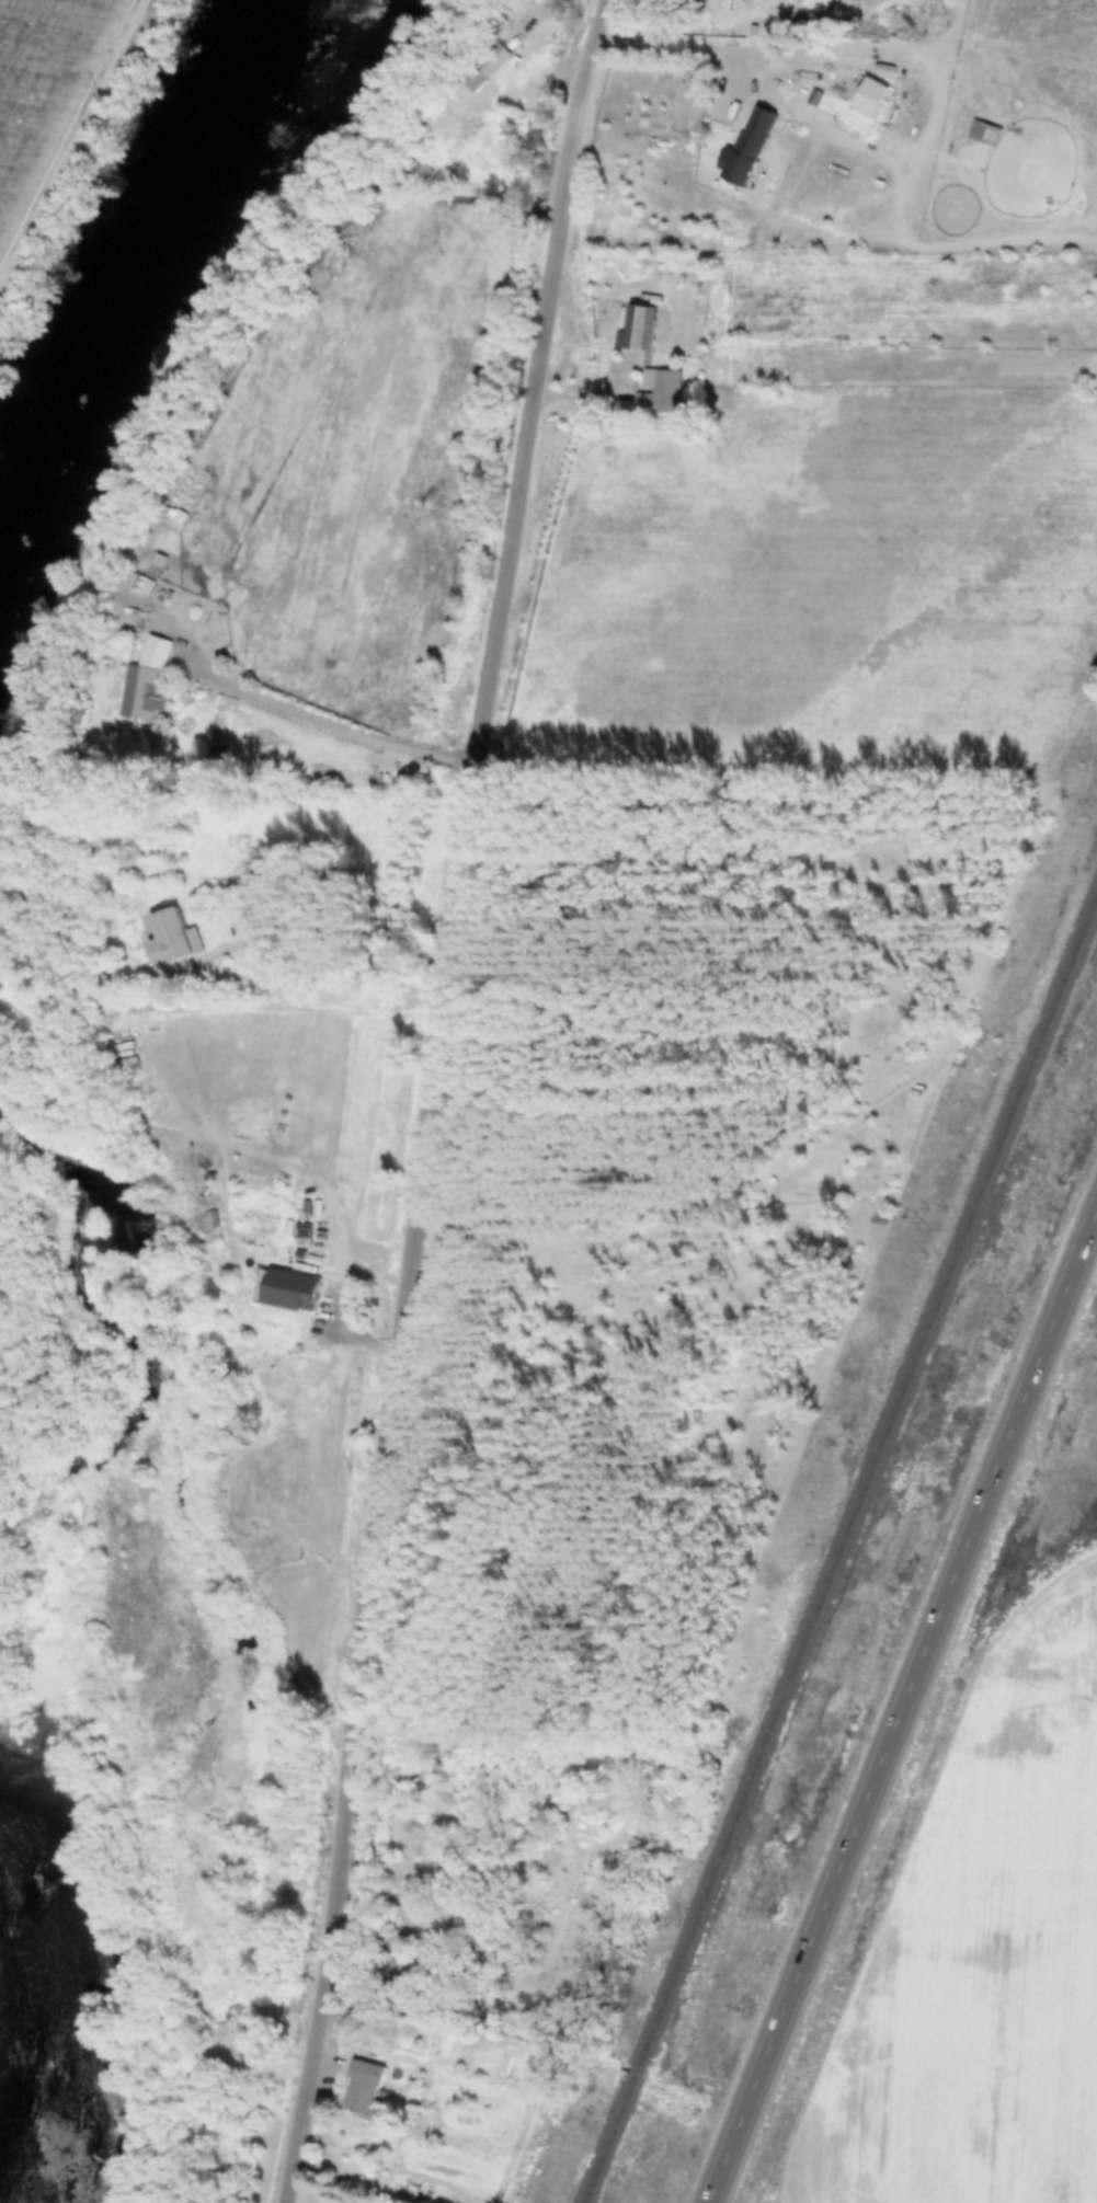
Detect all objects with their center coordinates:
building: (940, 3)
road: (704, 33)
road: (682, 37)
building: (483, 66)
building: (777, 83)
building: (743, 147)
building: (635, 326)
building: (656, 390)
building: (142, 679)
road: (328, 726)
building: (171, 943)
road: (288, 971)
road: (435, 1098)
road: (341, 1247)
building: (287, 1288)
railway: (839, 1545)
road: (902, 1703)
building: (464, 1920)
building: (398, 1965)
building: (359, 2088)

